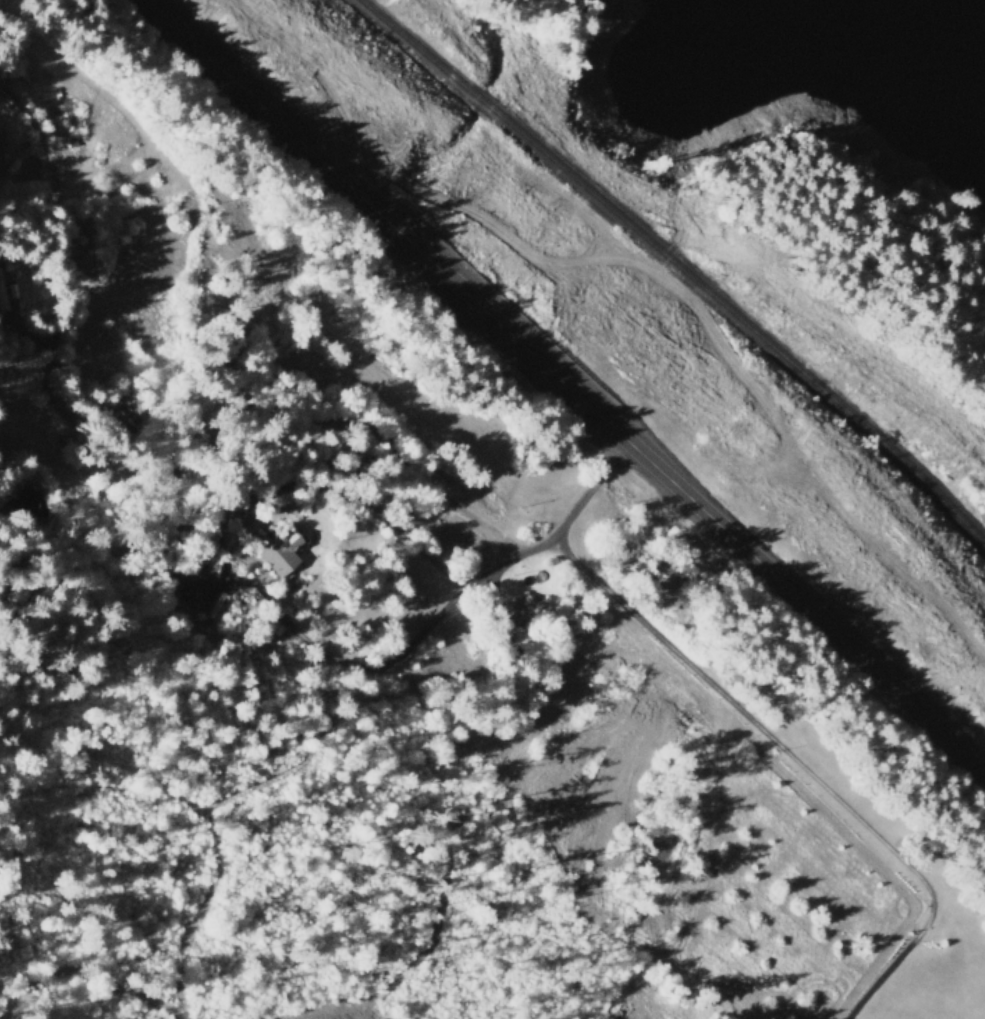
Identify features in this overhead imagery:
railway: (680, 267)
road: (565, 386)
road: (174, 483)
building: (280, 550)
building: (205, 567)
building: (526, 609)

